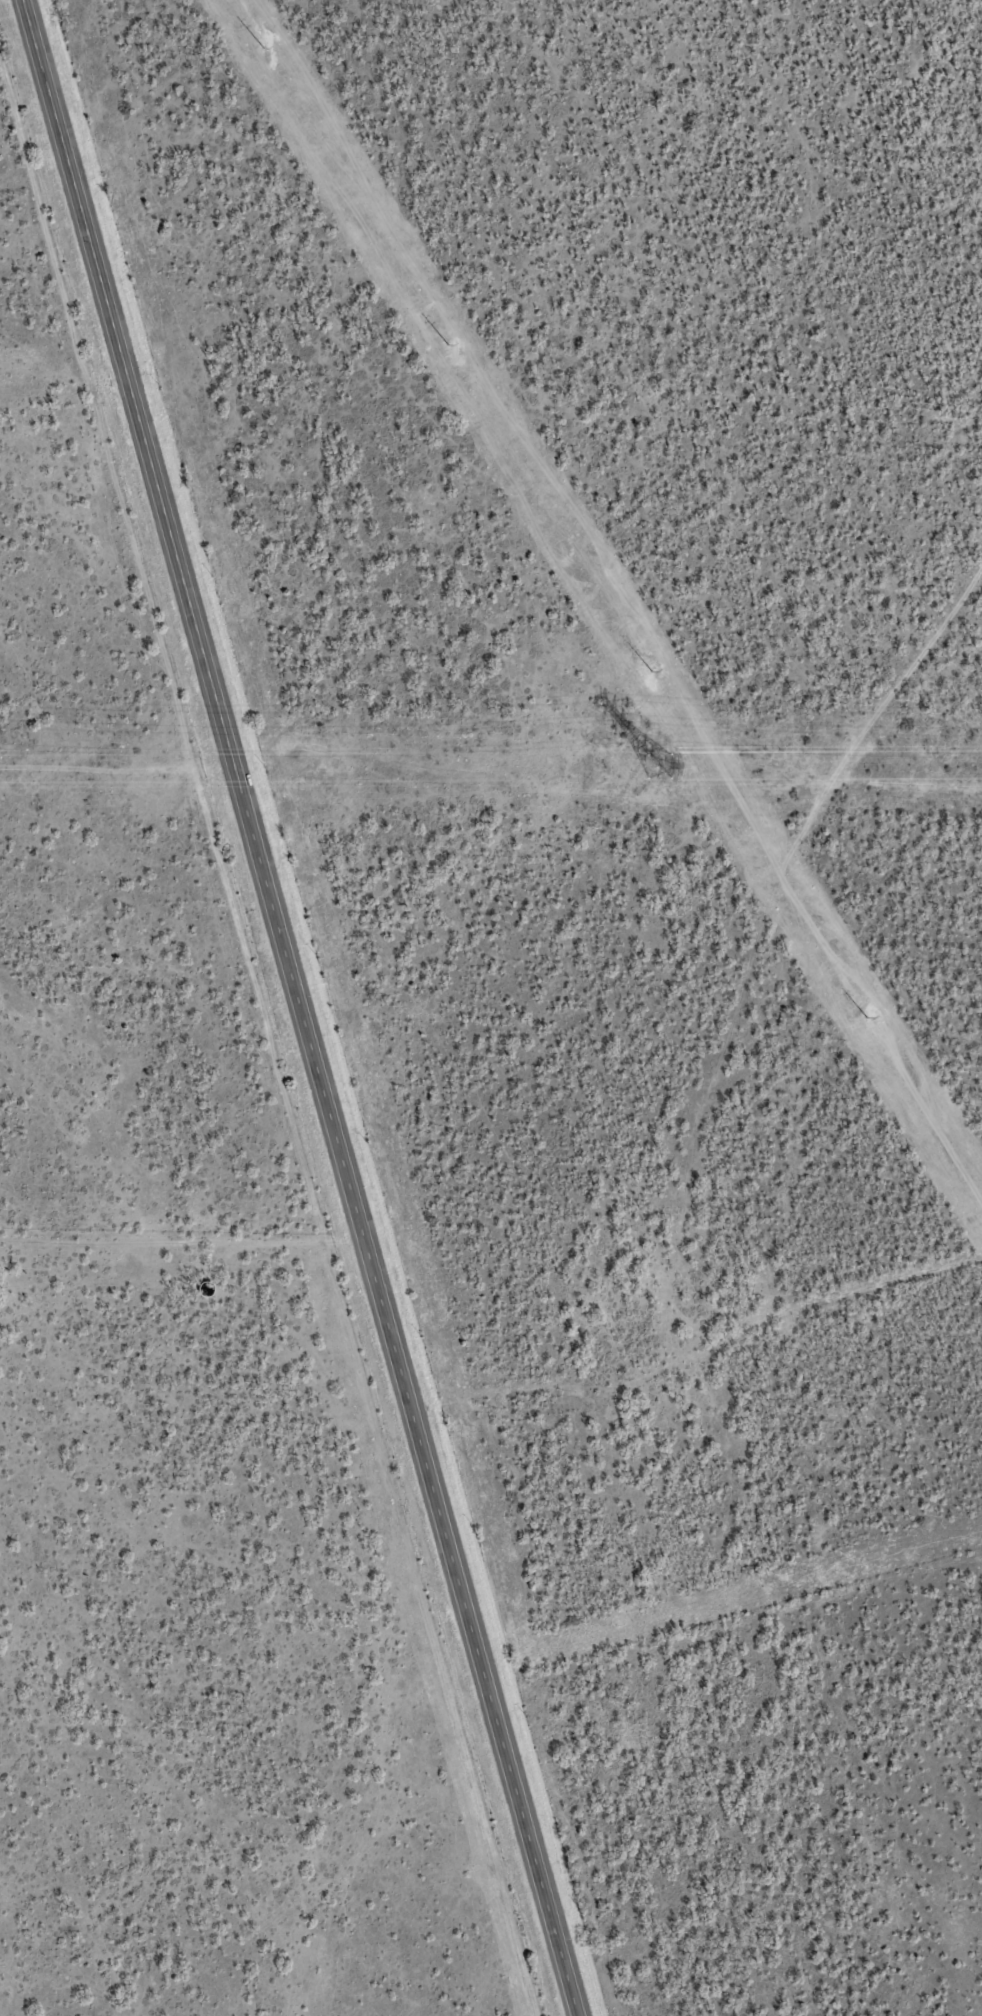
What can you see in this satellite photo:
power tower: (426, 311)
power tower: (649, 672)
power tower: (658, 767)
road: (714, 948)
road: (302, 1007)
power tower: (869, 1022)
road: (791, 1336)
road: (321, 1866)

